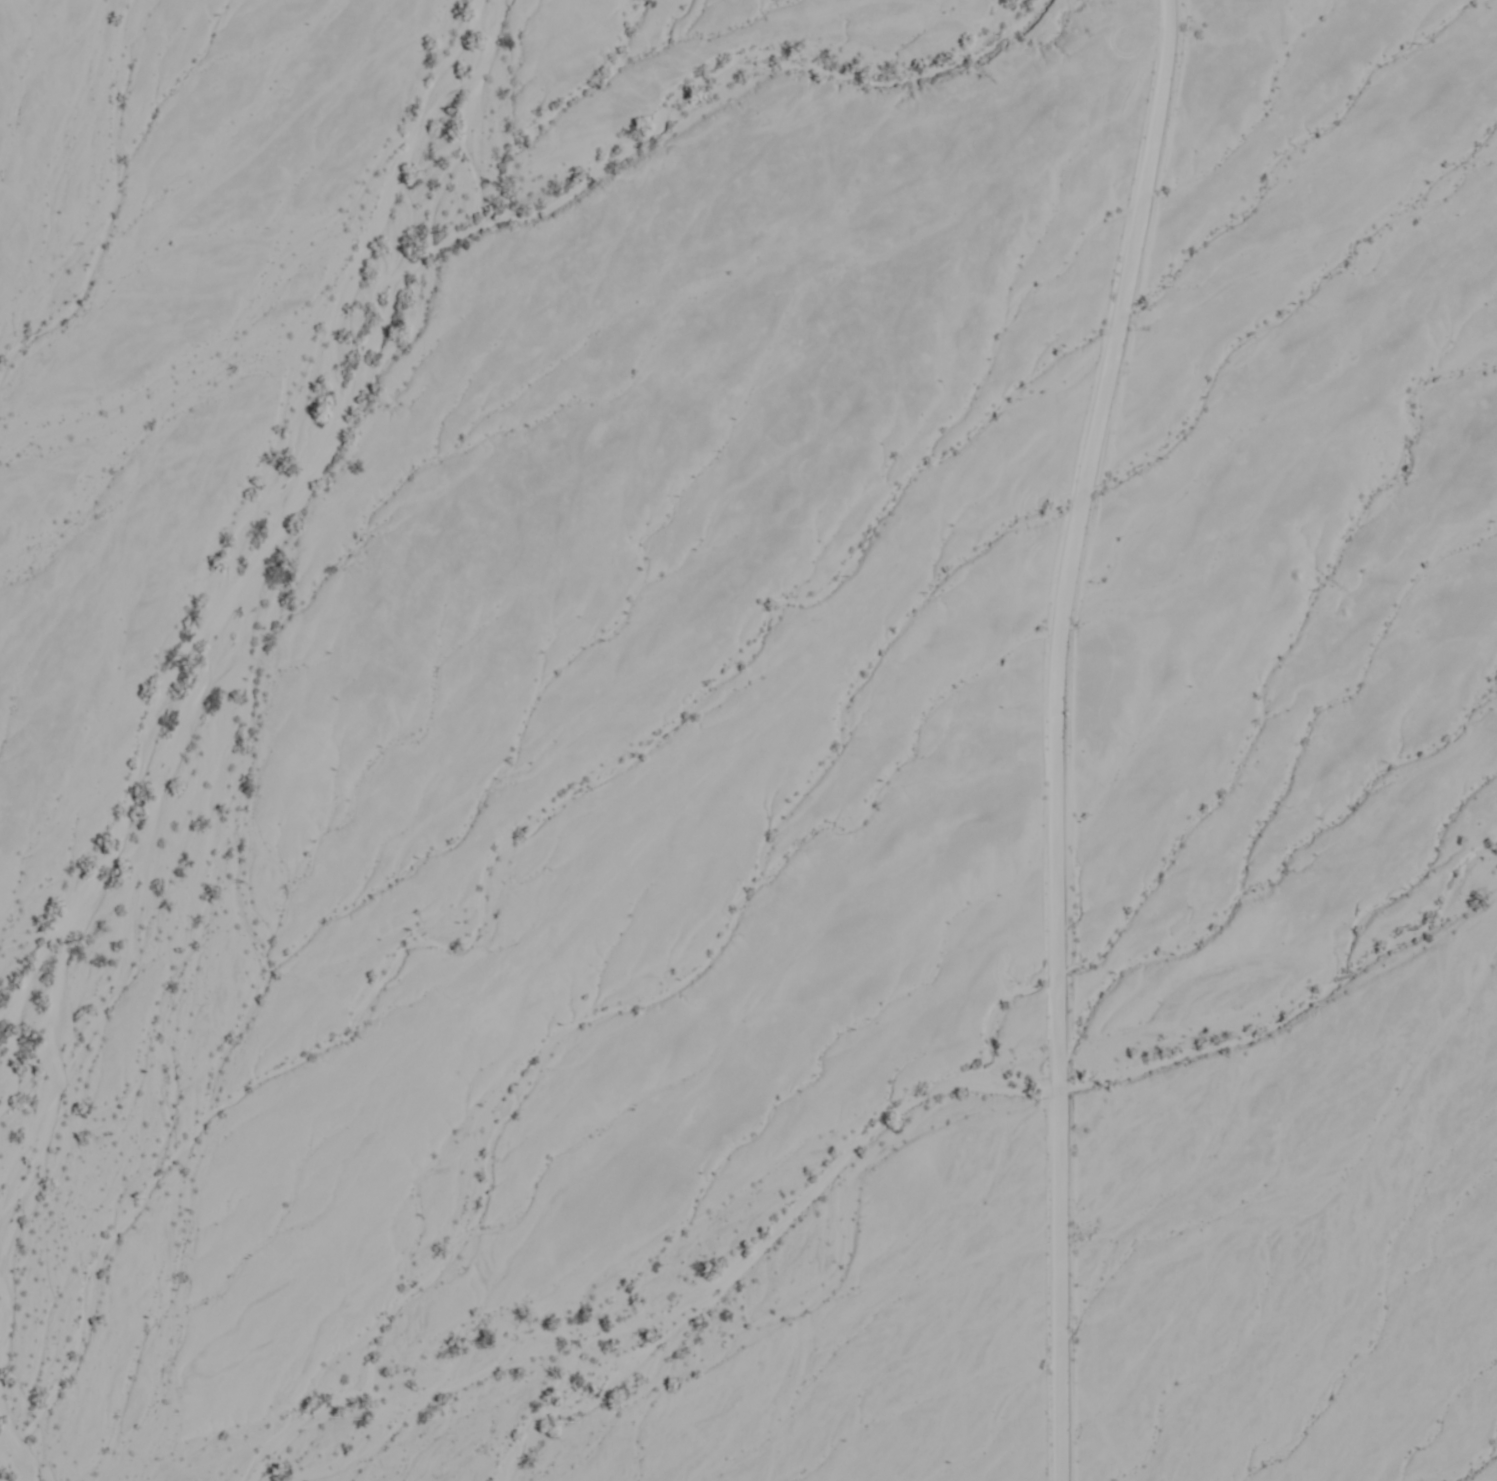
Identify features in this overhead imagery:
road: (1048, 728)

